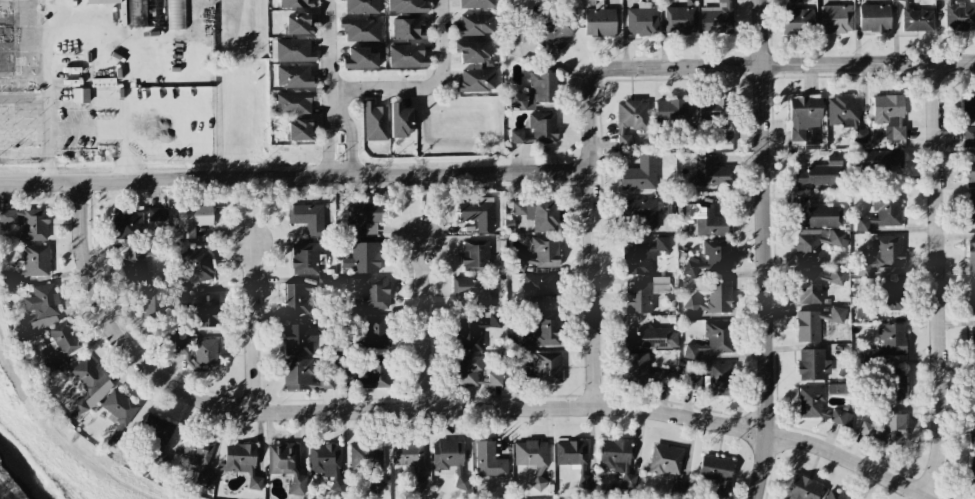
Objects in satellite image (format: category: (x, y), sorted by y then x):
building: (339, 0)
building: (793, 1)
building: (476, 3)
building: (298, 4)
building: (362, 5)
building: (406, 6)
road: (75, 13)
building: (136, 13)
building: (175, 14)
building: (713, 16)
building: (959, 16)
building: (680, 17)
building: (874, 18)
building: (836, 19)
building: (916, 19)
building: (641, 21)
building: (797, 21)
building: (599, 22)
building: (300, 24)
building: (473, 25)
building: (408, 28)
building: (360, 29)
building: (520, 31)
building: (544, 33)
road: (328, 48)
building: (292, 49)
building: (472, 51)
building: (407, 56)
building: (360, 58)
road: (785, 62)
building: (295, 75)
building: (475, 80)
road: (425, 86)
building: (534, 91)
building: (79, 95)
building: (183, 100)
building: (294, 101)
road: (334, 103)
road: (335, 111)
building: (670, 111)
building: (845, 115)
building: (889, 115)
building: (717, 116)
building: (630, 118)
building: (968, 118)
road: (589, 119)
building: (400, 120)
building: (375, 121)
building: (806, 121)
building: (300, 128)
building: (537, 129)
road: (23, 159)
building: (878, 160)
building: (970, 172)
building: (710, 173)
building: (821, 174)
road: (295, 175)
building: (640, 175)
building: (971, 209)
building: (881, 212)
building: (642, 213)
building: (478, 214)
building: (539, 214)
building: (820, 216)
building: (7, 217)
building: (193, 218)
building: (307, 218)
building: (363, 218)
building: (133, 219)
building: (706, 220)
building: (33, 225)
building: (816, 245)
road: (765, 250)
building: (545, 252)
building: (883, 254)
building: (475, 255)
building: (642, 256)
building: (711, 257)
building: (304, 258)
building: (363, 258)
building: (971, 258)
building: (33, 260)
building: (139, 261)
building: (194, 268)
building: (9, 279)
road: (939, 279)
building: (815, 284)
building: (538, 289)
road: (593, 289)
building: (471, 290)
building: (375, 293)
building: (643, 294)
building: (890, 295)
building: (713, 299)
building: (296, 300)
building: (972, 301)
building: (152, 302)
building: (40, 309)
building: (207, 311)
building: (815, 323)
road: (422, 325)
road: (252, 330)
building: (376, 332)
building: (473, 332)
building: (543, 332)
building: (650, 338)
building: (299, 339)
building: (712, 340)
building: (889, 341)
building: (59, 343)
building: (973, 345)
building: (200, 354)
building: (812, 365)
building: (541, 368)
building: (467, 370)
building: (644, 371)
building: (347, 372)
building: (376, 373)
building: (303, 376)
building: (494, 379)
building: (721, 380)
building: (692, 383)
building: (896, 383)
building: (88, 385)
building: (836, 389)
building: (810, 402)
building: (118, 407)
road: (437, 409)
building: (840, 417)
building: (886, 430)
building: (972, 432)
building: (158, 439)
building: (406, 455)
building: (365, 456)
building: (532, 459)
building: (573, 459)
building: (449, 460)
building: (617, 460)
building: (665, 460)
building: (489, 461)
building: (241, 462)
building: (326, 464)
building: (286, 465)
building: (972, 468)
river: (24, 471)
building: (716, 474)
building: (677, 489)
building: (803, 489)
building: (834, 495)

